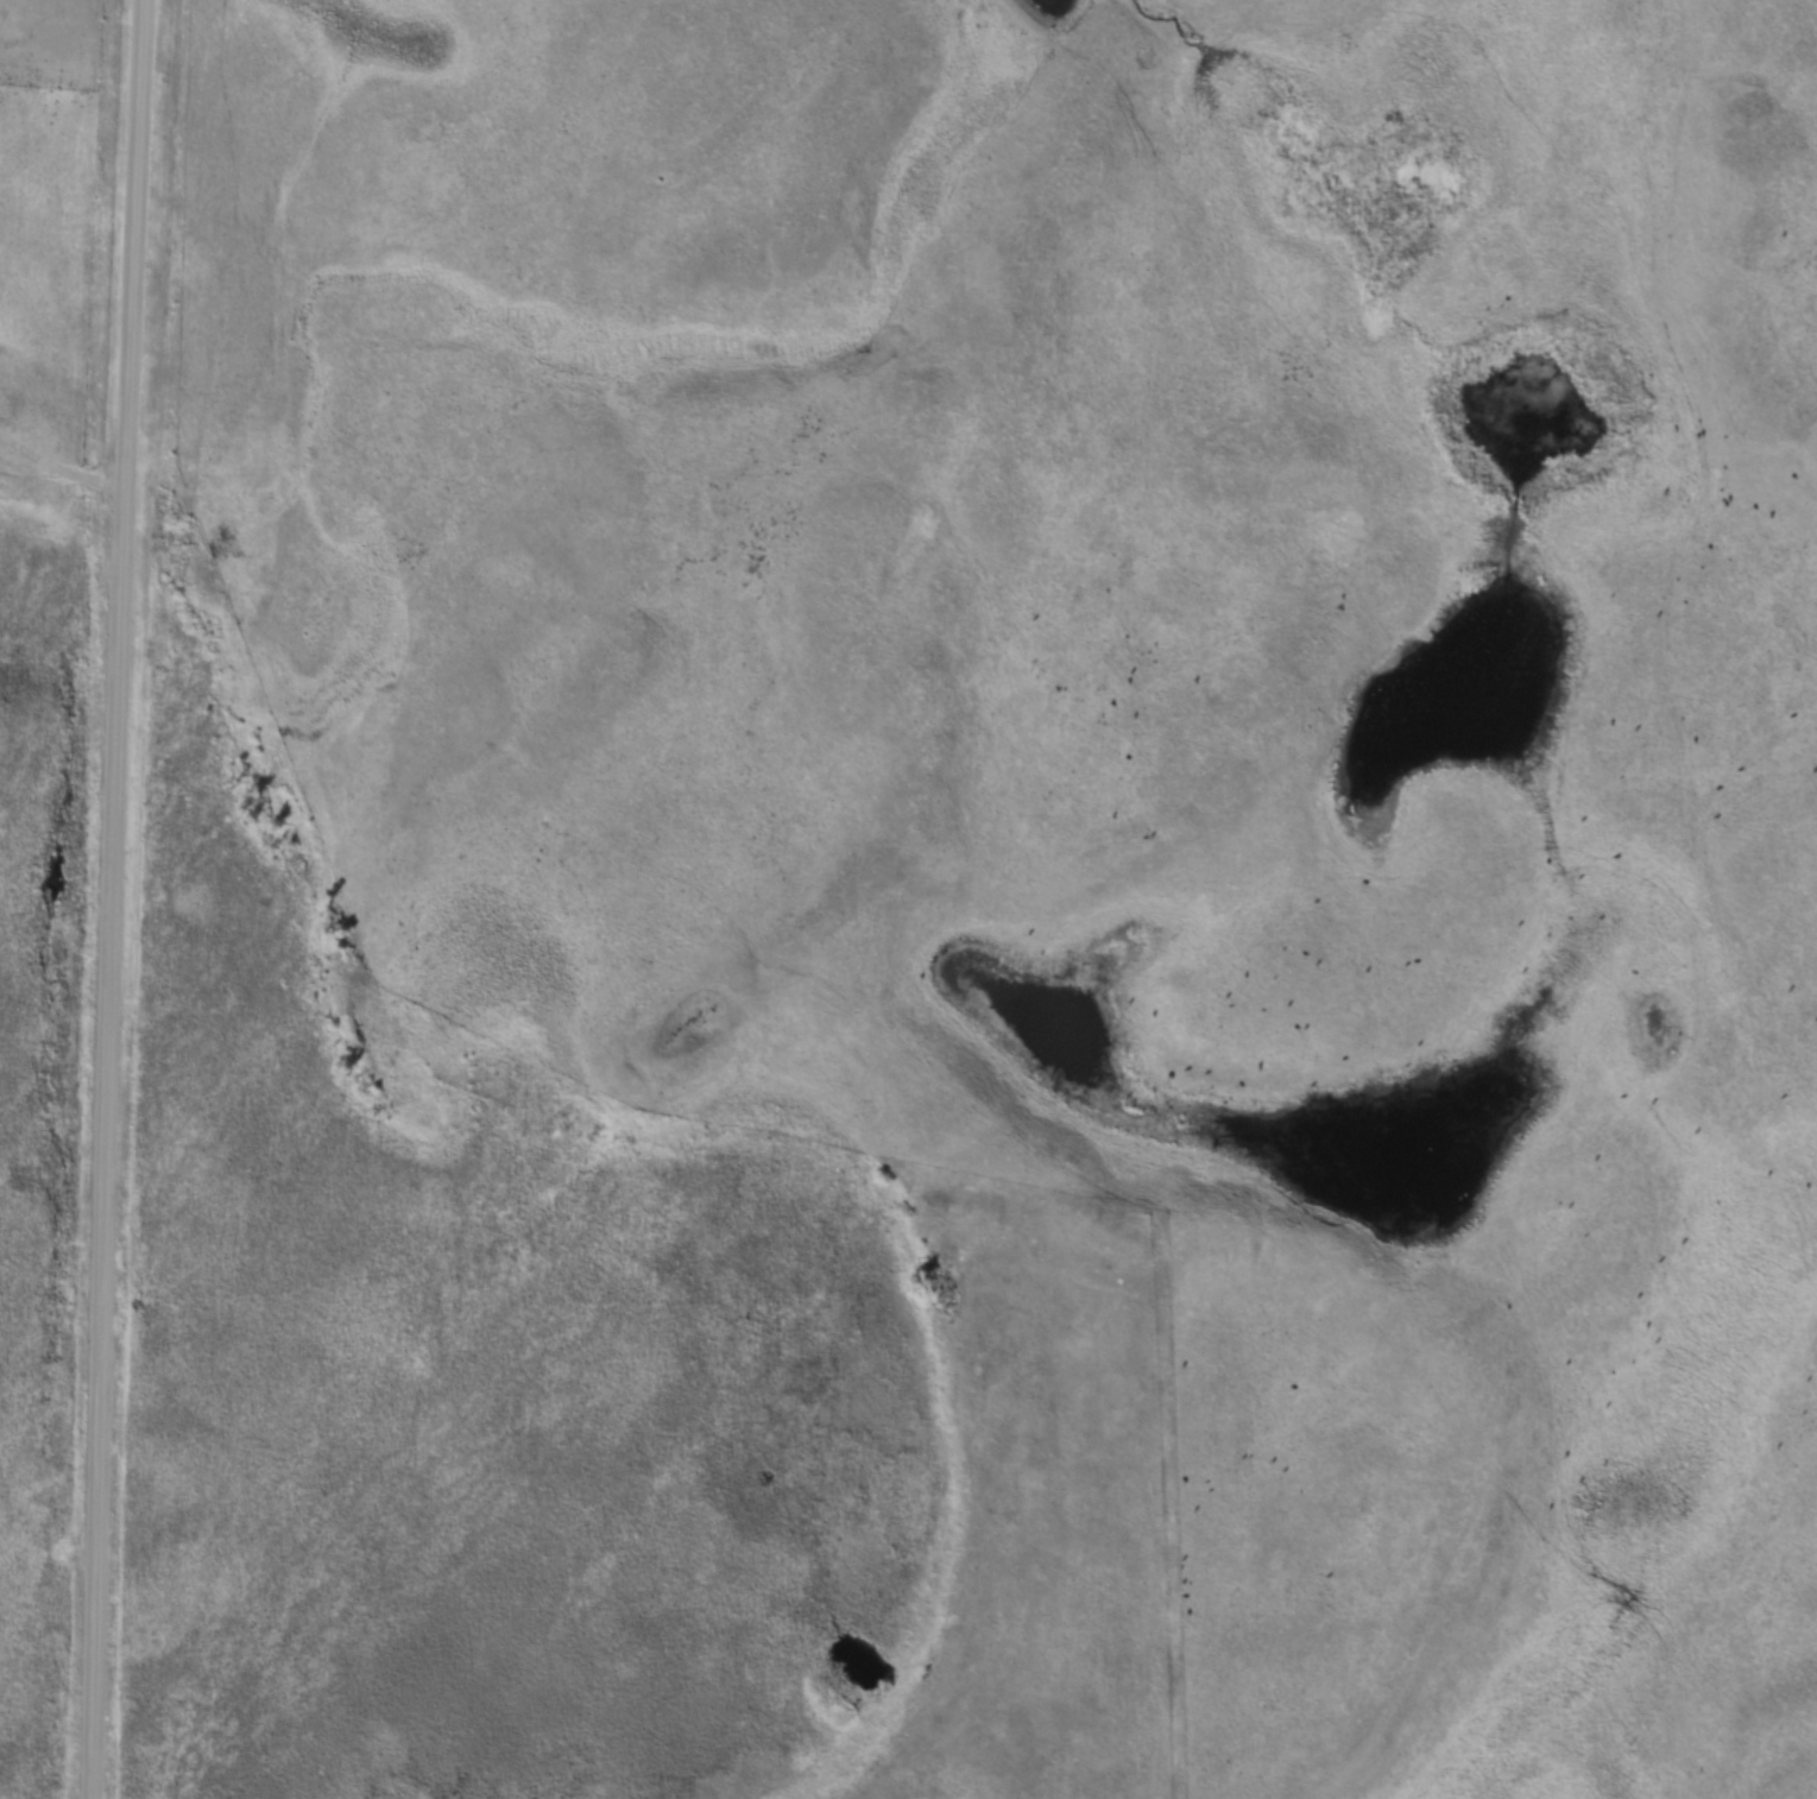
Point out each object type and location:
road: (114, 898)

